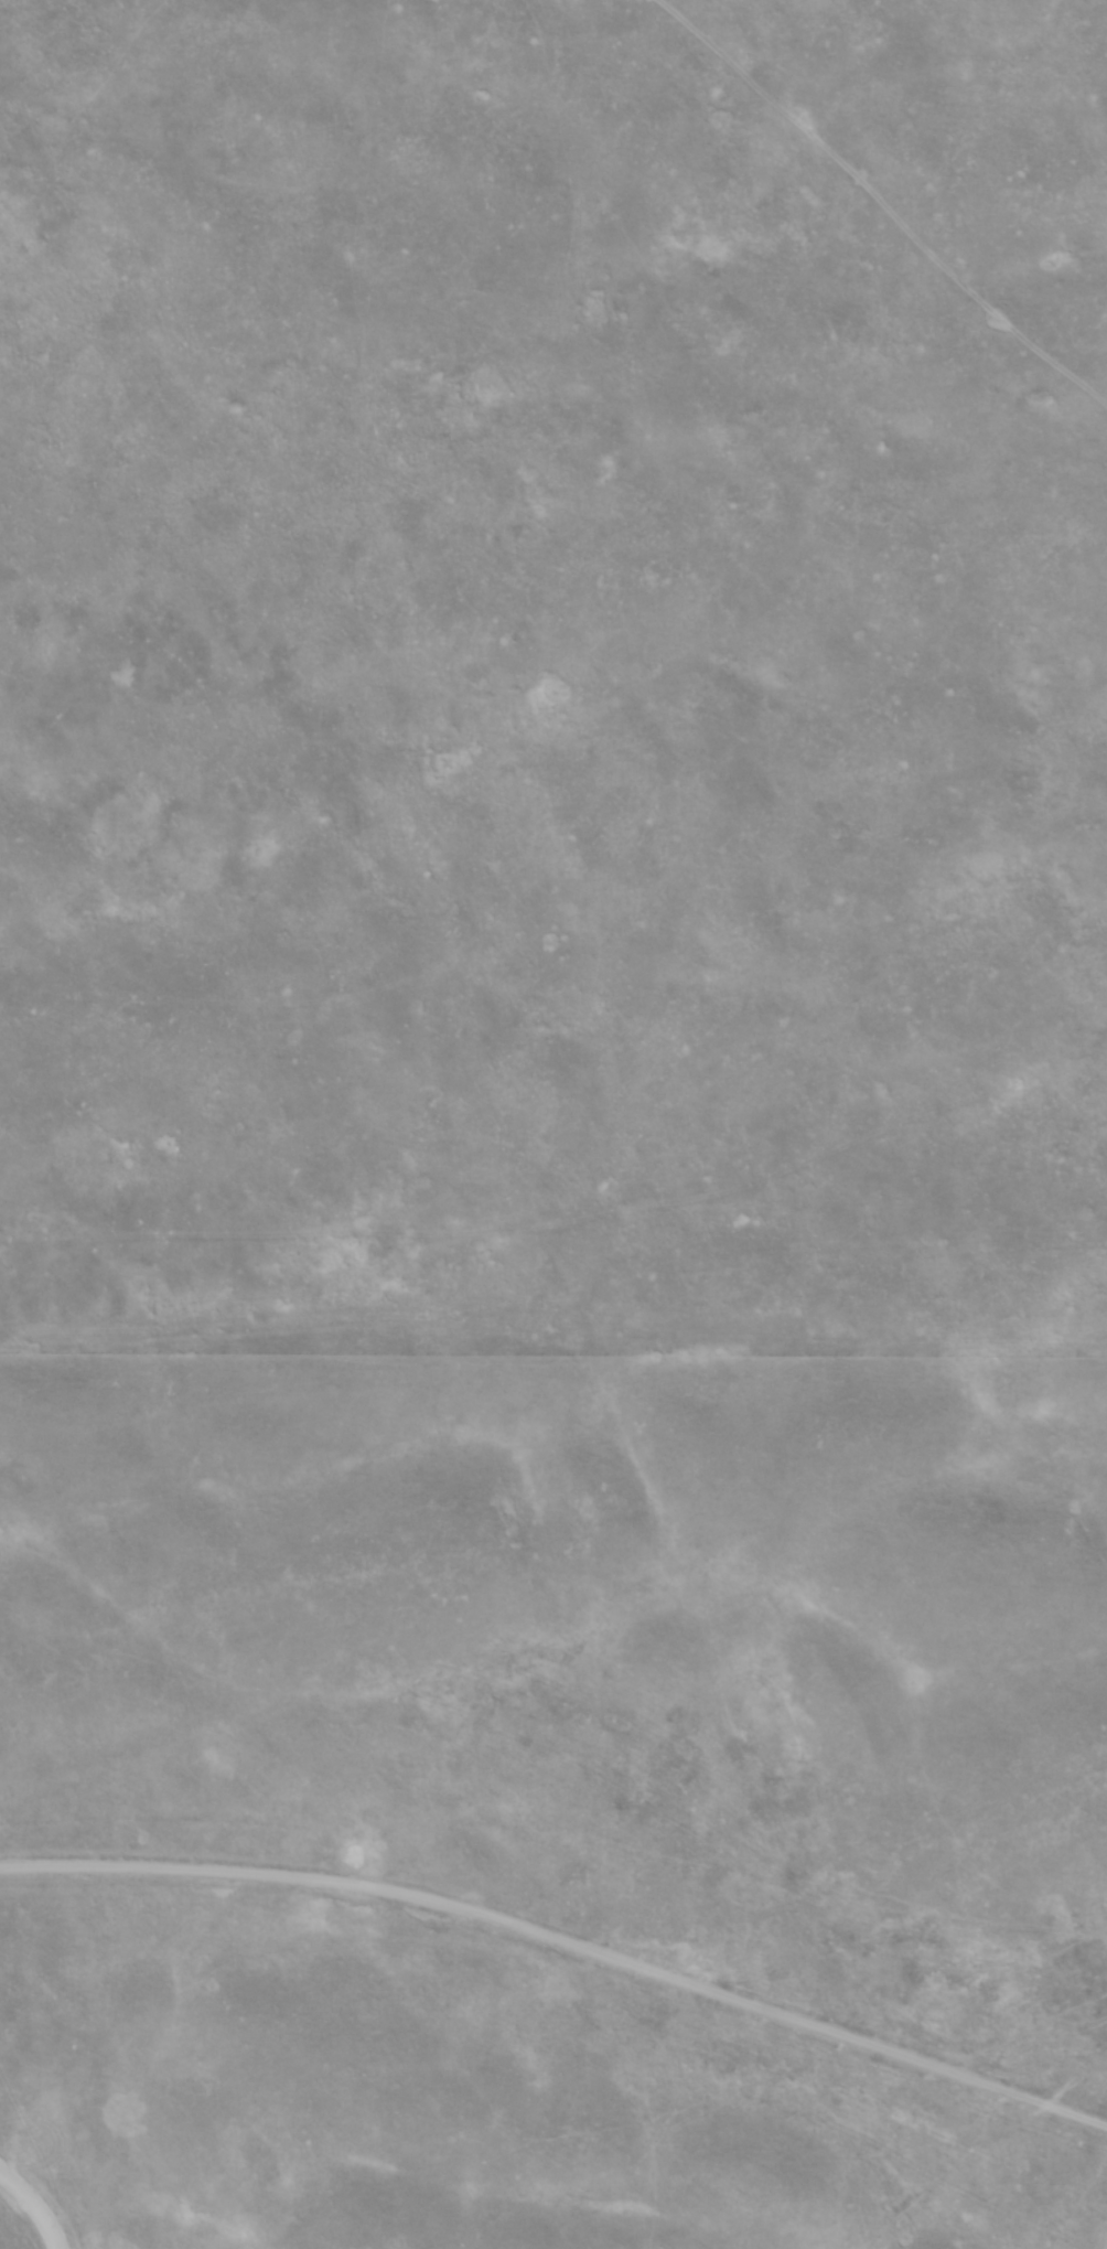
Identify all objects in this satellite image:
road: (563, 1956)
road: (19, 2225)

